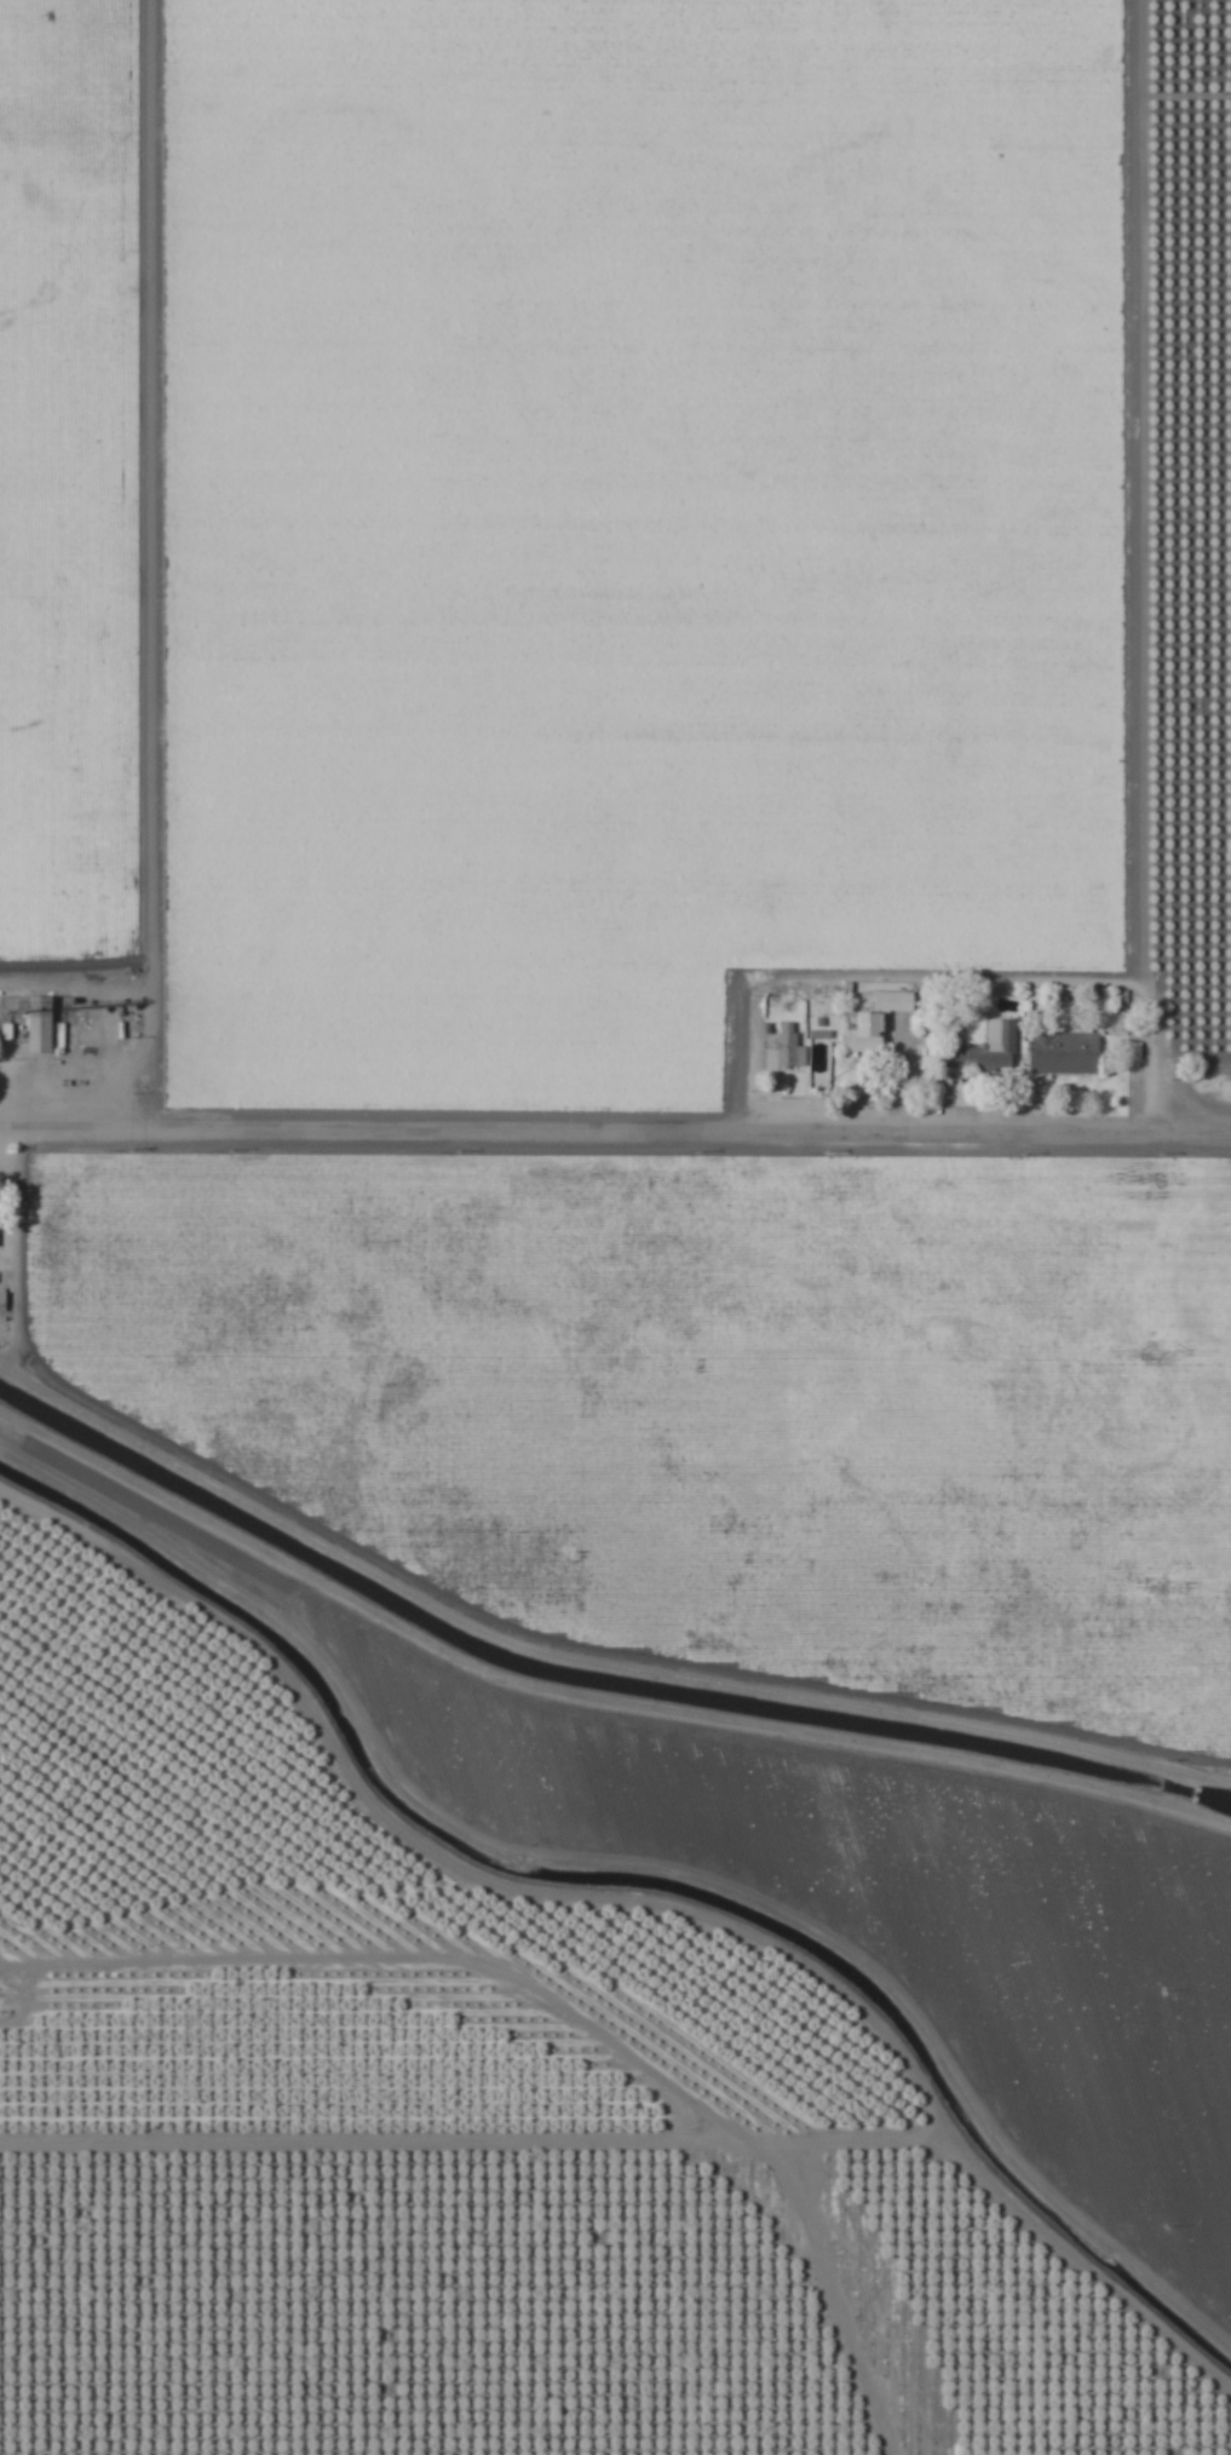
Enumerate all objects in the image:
building: (874, 1022)
building: (45, 1025)
building: (786, 1046)
building: (989, 1048)
building: (1066, 1053)
road: (615, 1105)
crop: (615, 1227)
road: (550, 2033)

